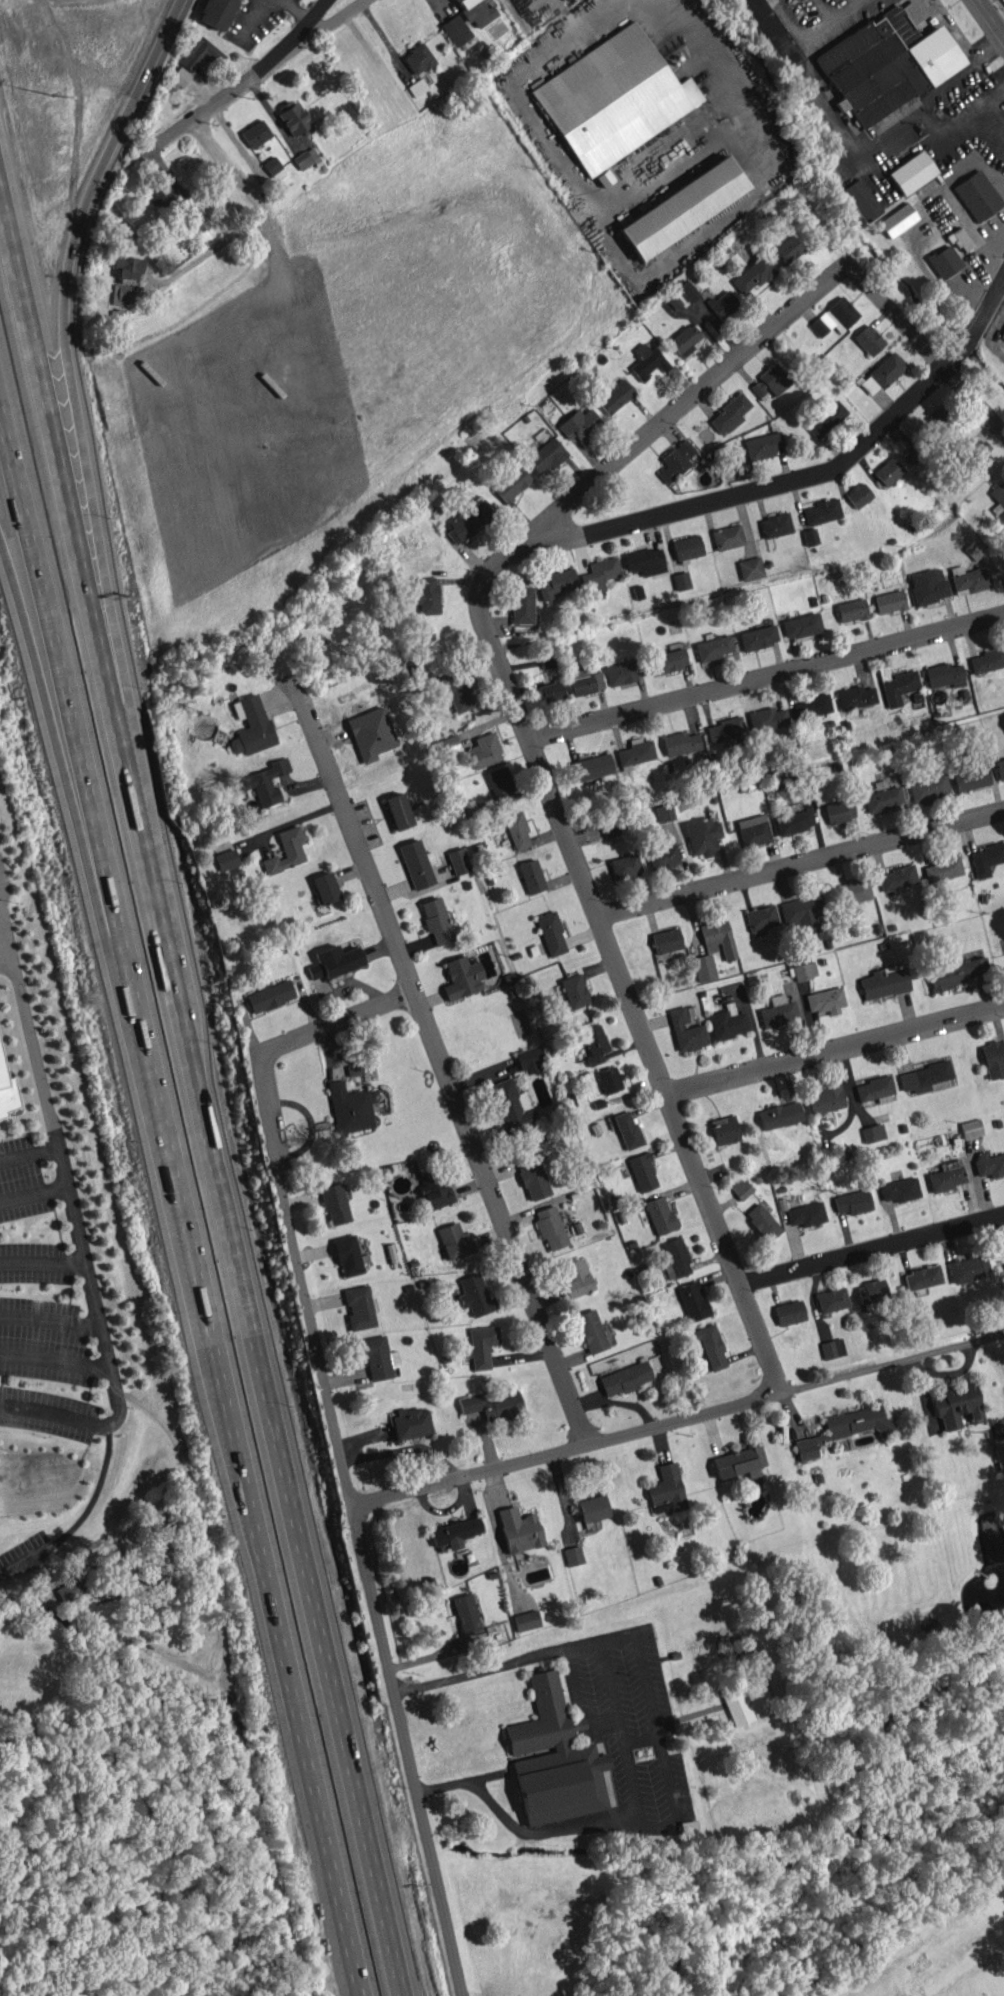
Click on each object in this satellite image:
road: (832, 8)
building: (477, 11)
building: (216, 12)
road: (991, 17)
building: (899, 25)
building: (455, 30)
building: (773, 34)
road: (291, 38)
building: (200, 53)
building: (418, 58)
building: (885, 67)
building: (180, 76)
road: (247, 78)
building: (613, 98)
road: (982, 112)
building: (294, 118)
building: (255, 133)
road: (855, 150)
building: (307, 158)
building: (273, 167)
building: (911, 172)
road: (236, 177)
building: (161, 194)
building: (977, 194)
building: (862, 199)
building: (682, 207)
building: (195, 218)
building: (897, 219)
building: (960, 239)
road: (76, 241)
building: (786, 250)
road: (208, 253)
building: (944, 261)
building: (127, 266)
road: (650, 271)
building: (752, 275)
building: (687, 290)
building: (722, 303)
building: (834, 317)
building: (1002, 334)
building: (868, 339)
building: (684, 340)
road: (38, 344)
road: (926, 349)
building: (647, 361)
building: (881, 373)
building: (770, 381)
building: (615, 396)
building: (729, 414)
road: (664, 415)
building: (825, 418)
building: (580, 423)
building: (944, 423)
building: (763, 445)
building: (915, 451)
building: (976, 453)
building: (546, 455)
building: (675, 460)
building: (888, 470)
building: (511, 483)
road: (779, 488)
building: (858, 494)
building: (821, 511)
building: (468, 518)
building: (775, 524)
building: (727, 536)
building: (810, 536)
building: (687, 547)
building: (974, 549)
building: (645, 561)
building: (750, 567)
building: (599, 573)
building: (681, 580)
building: (971, 580)
road: (32, 582)
building: (557, 582)
building: (927, 585)
building: (426, 595)
building: (889, 601)
building: (522, 604)
building: (851, 610)
building: (801, 625)
building: (757, 637)
road: (28, 640)
building: (713, 647)
building: (667, 660)
building: (986, 660)
building: (546, 661)
building: (623, 672)
road: (767, 675)
building: (944, 675)
building: (584, 680)
building: (898, 687)
building: (551, 691)
building: (455, 693)
building: (855, 696)
building: (812, 706)
building: (1003, 717)
building: (767, 718)
building: (251, 725)
building: (725, 729)
building: (371, 733)
building: (680, 742)
building: (447, 746)
building: (484, 750)
building: (635, 752)
building: (591, 767)
building: (999, 768)
building: (969, 776)
building: (266, 781)
building: (500, 785)
building: (927, 788)
building: (882, 798)
building: (838, 810)
building: (398, 811)
building: (663, 812)
building: (750, 819)
building: (794, 821)
building: (609, 827)
building: (517, 830)
building: (754, 834)
building: (702, 835)
building: (286, 850)
building: (662, 856)
building: (986, 858)
building: (226, 859)
building: (458, 860)
building: (417, 863)
road: (801, 863)
building: (624, 866)
building: (942, 869)
building: (531, 876)
building: (897, 877)
building: (324, 887)
building: (854, 891)
building: (803, 911)
building: (760, 919)
building: (436, 920)
building: (551, 933)
building: (718, 938)
building: (666, 940)
building: (334, 961)
building: (703, 967)
building: (804, 970)
building: (957, 971)
building: (461, 977)
building: (884, 981)
road: (623, 983)
building: (573, 990)
building: (269, 995)
building: (777, 998)
building: (825, 1000)
building: (777, 1013)
building: (727, 1022)
building: (686, 1030)
road: (29, 1041)
building: (594, 1043)
road: (835, 1052)
road: (438, 1055)
building: (530, 1058)
building: (993, 1058)
building: (354, 1069)
building: (924, 1076)
building: (609, 1079)
building: (873, 1088)
building: (7, 1093)
building: (825, 1099)
building: (512, 1107)
building: (349, 1108)
building: (779, 1115)
building: (971, 1128)
building: (724, 1129)
building: (628, 1130)
building: (873, 1132)
building: (989, 1163)
building: (642, 1171)
building: (532, 1175)
building: (947, 1176)
building: (740, 1188)
building: (900, 1189)
building: (435, 1191)
road: (33, 1198)
building: (853, 1201)
road: (288, 1203)
building: (335, 1203)
building: (659, 1214)
building: (806, 1214)
building: (762, 1221)
building: (550, 1227)
building: (454, 1241)
building: (1003, 1246)
road: (242, 1250)
road: (870, 1250)
building: (348, 1255)
building: (674, 1257)
road: (42, 1268)
building: (968, 1268)
building: (575, 1277)
building: (922, 1277)
building: (871, 1291)
building: (474, 1294)
building: (832, 1299)
building: (693, 1300)
building: (359, 1307)
parking lot: (46, 1309)
road: (94, 1310)
building: (789, 1312)
road: (49, 1325)
building: (593, 1331)
building: (481, 1345)
building: (710, 1346)
building: (832, 1348)
building: (376, 1356)
road: (210, 1364)
road: (55, 1367)
building: (625, 1378)
building: (491, 1404)
building: (957, 1405)
road: (677, 1420)
building: (844, 1428)
building: (999, 1451)
building: (739, 1462)
building: (667, 1487)
building: (660, 1507)
building: (592, 1508)
building: (519, 1529)
building: (455, 1532)
building: (573, 1555)
building: (70, 1589)
building: (466, 1612)
building: (526, 1620)
building: (747, 1700)
road: (614, 1743)
road: (406, 1752)
building: (554, 1758)
building: (607, 1788)

